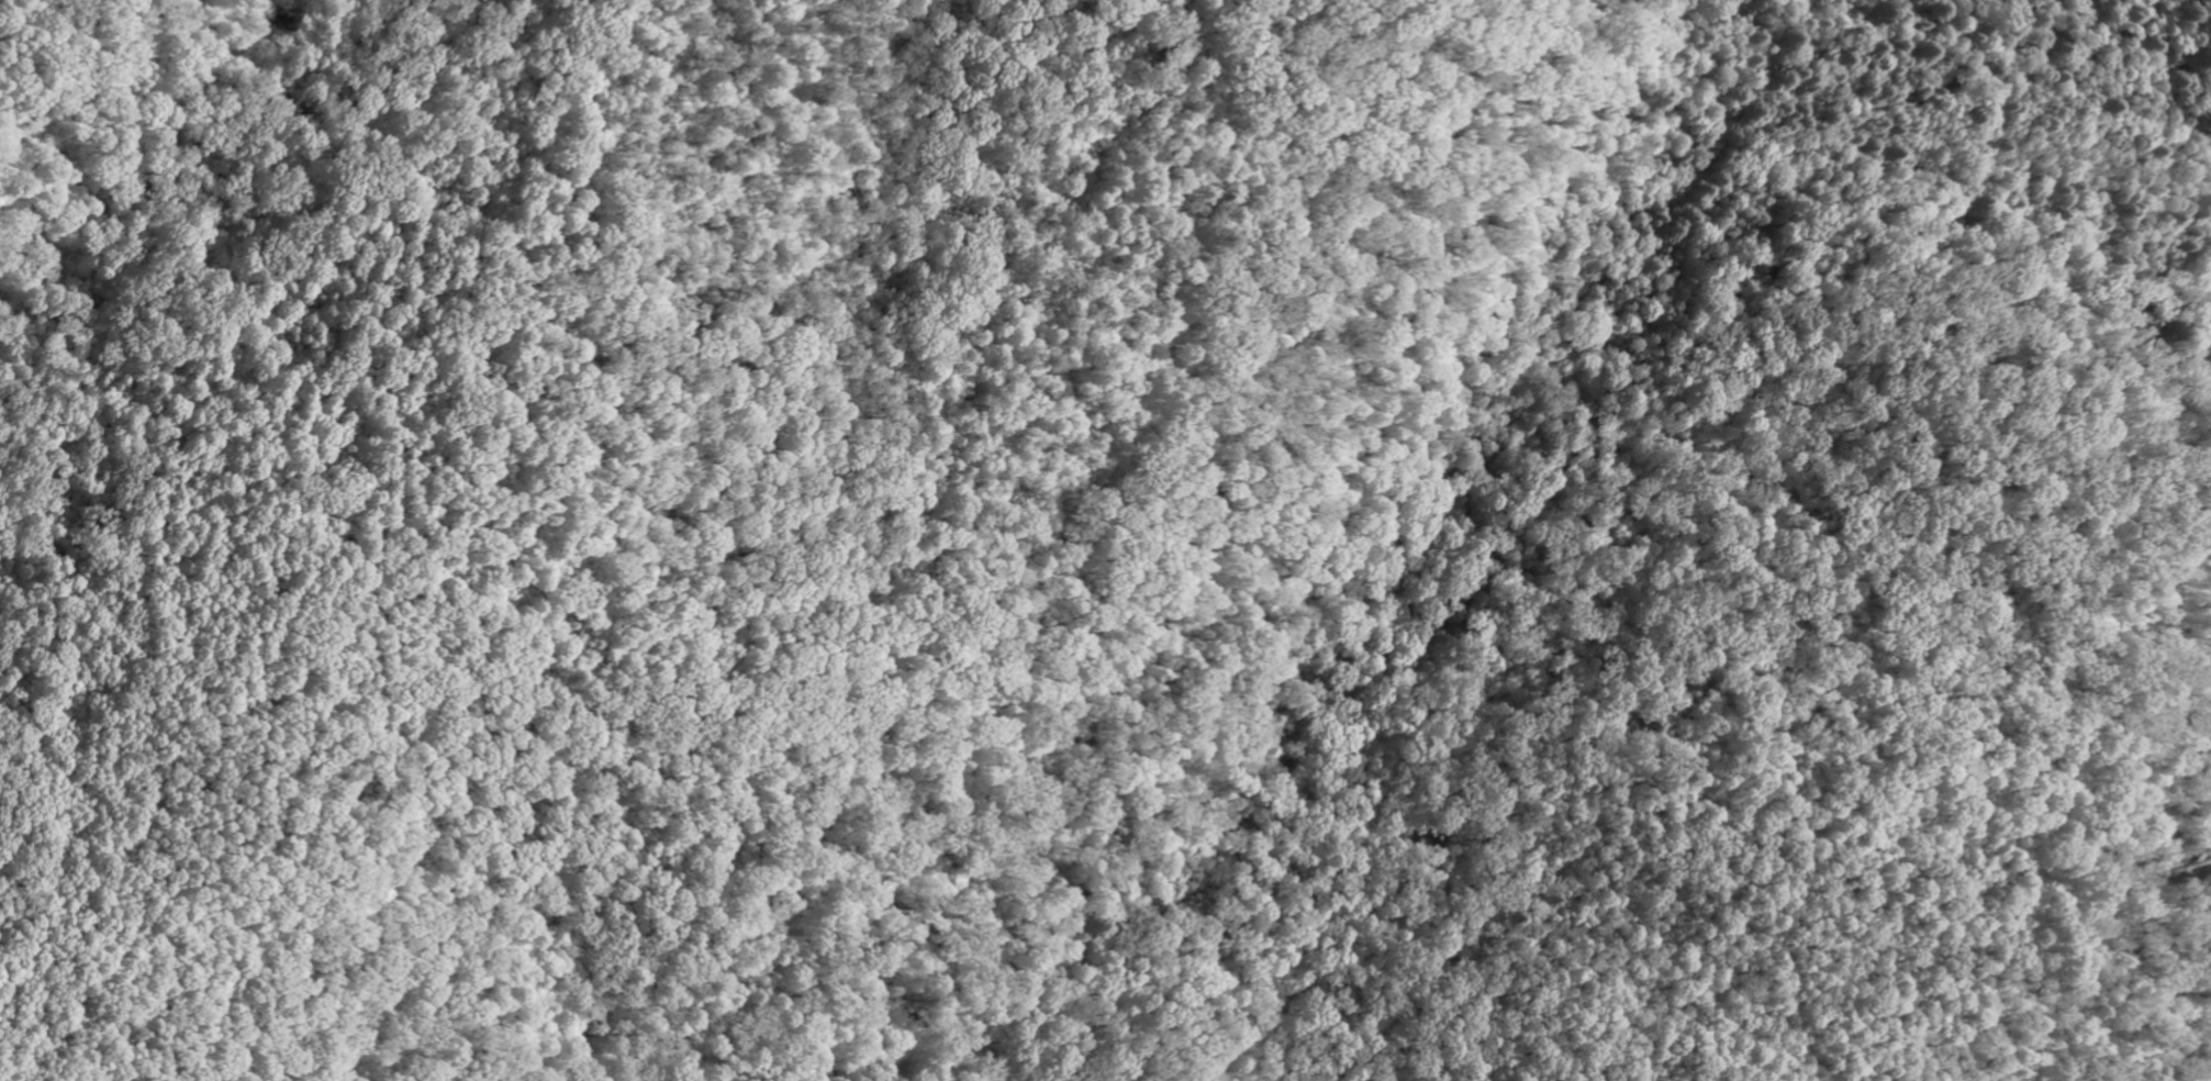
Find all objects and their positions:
road: (1236, 992)

